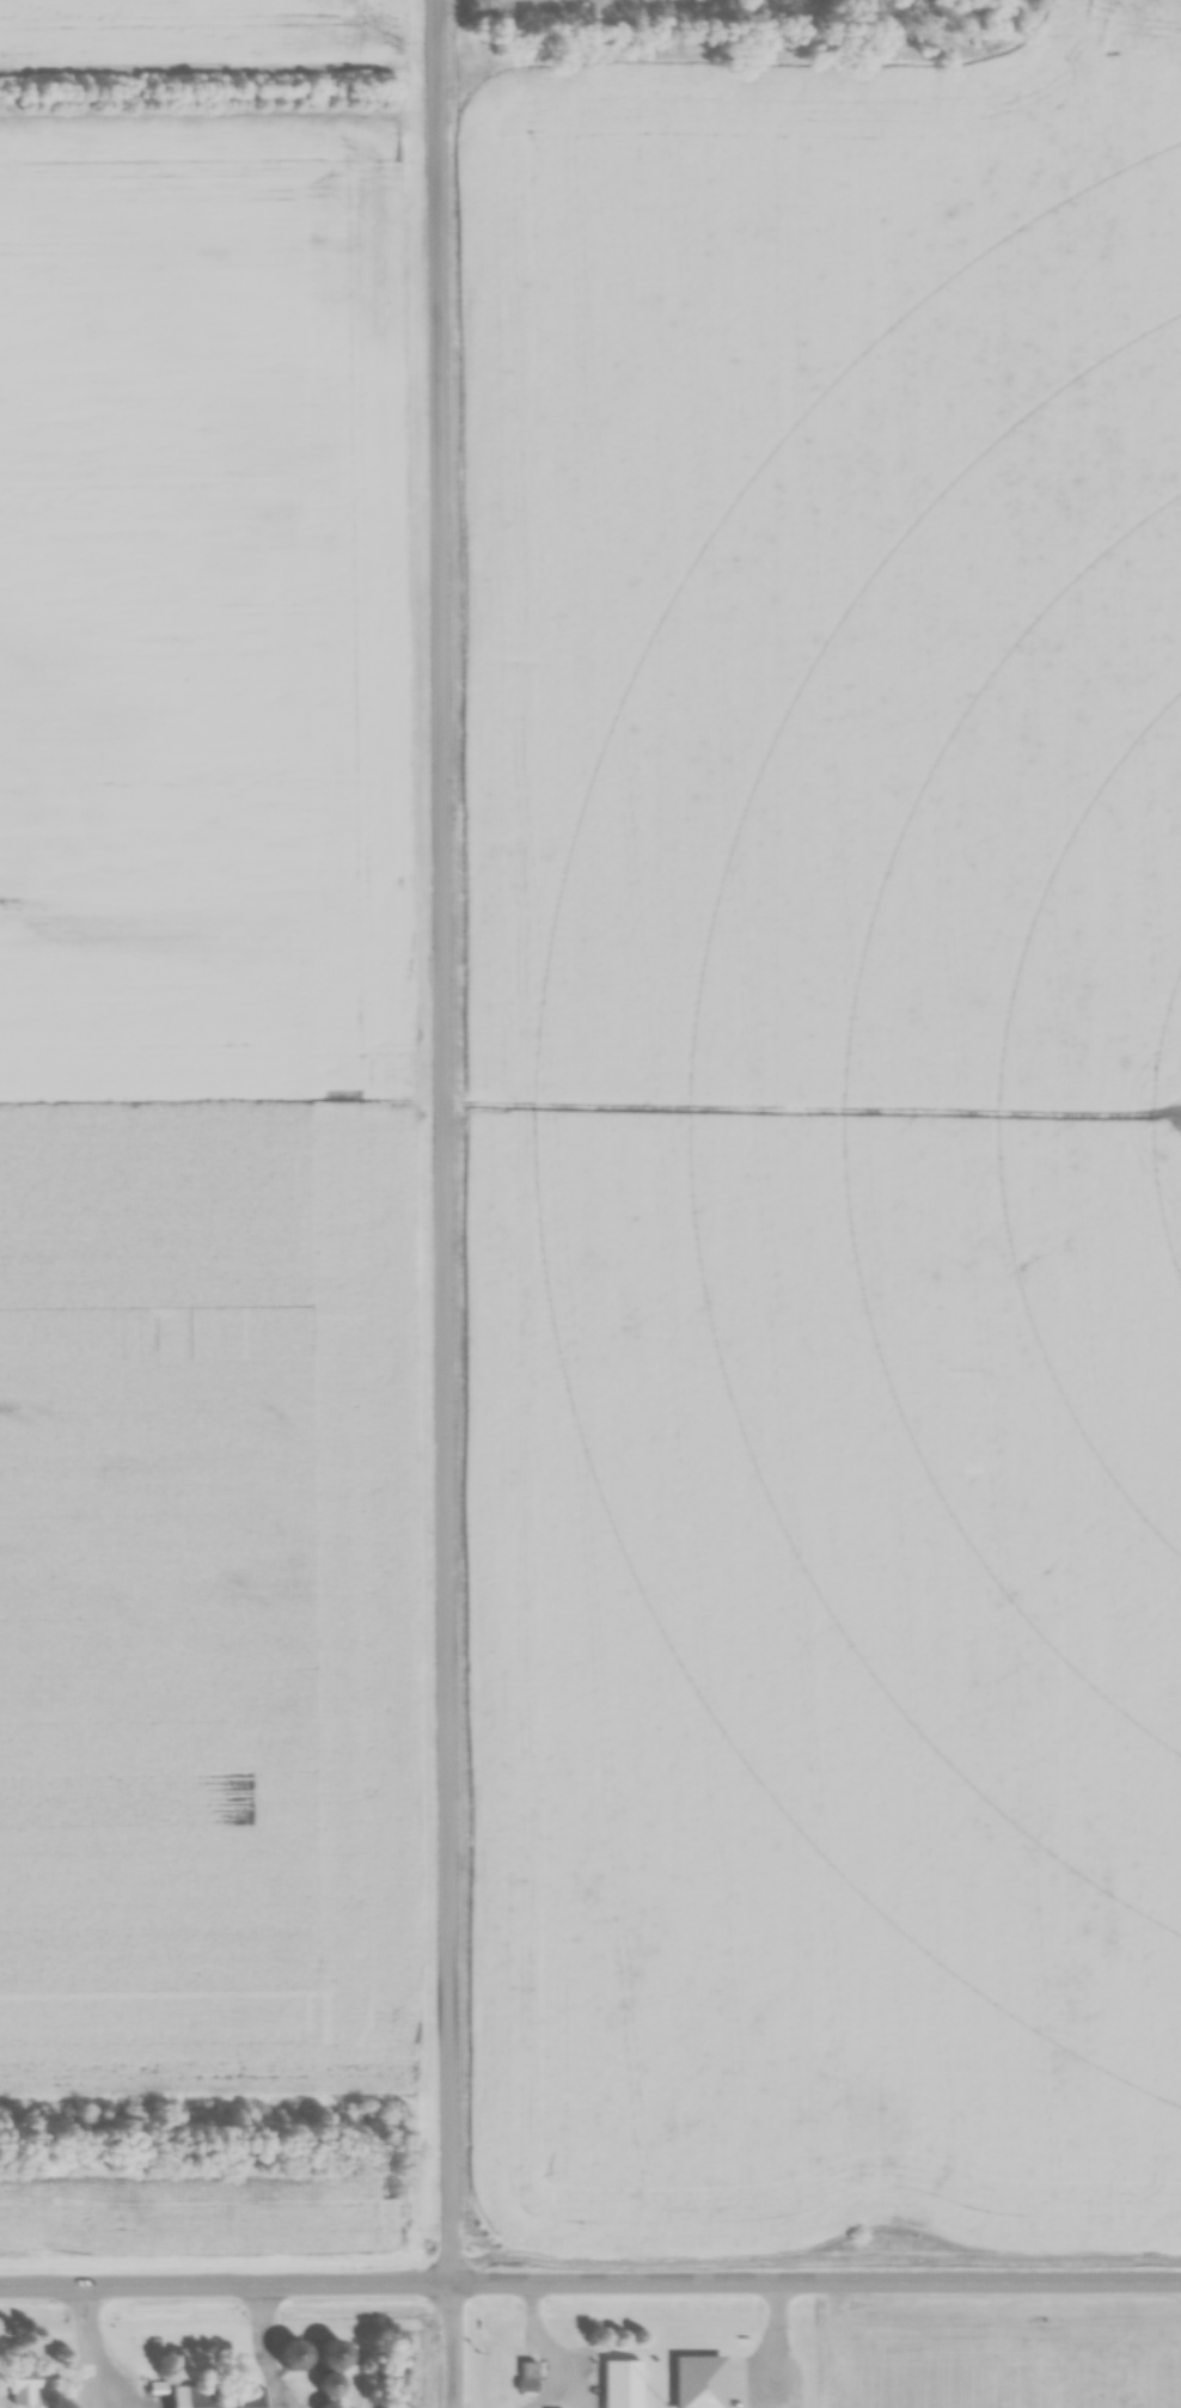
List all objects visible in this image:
road: (447, 1204)
road: (589, 2284)
building: (294, 2353)
building: (332, 2367)
building: (527, 2377)
building: (700, 2381)
building: (622, 2383)
building: (22, 2389)
building: (216, 2396)
building: (329, 2406)

